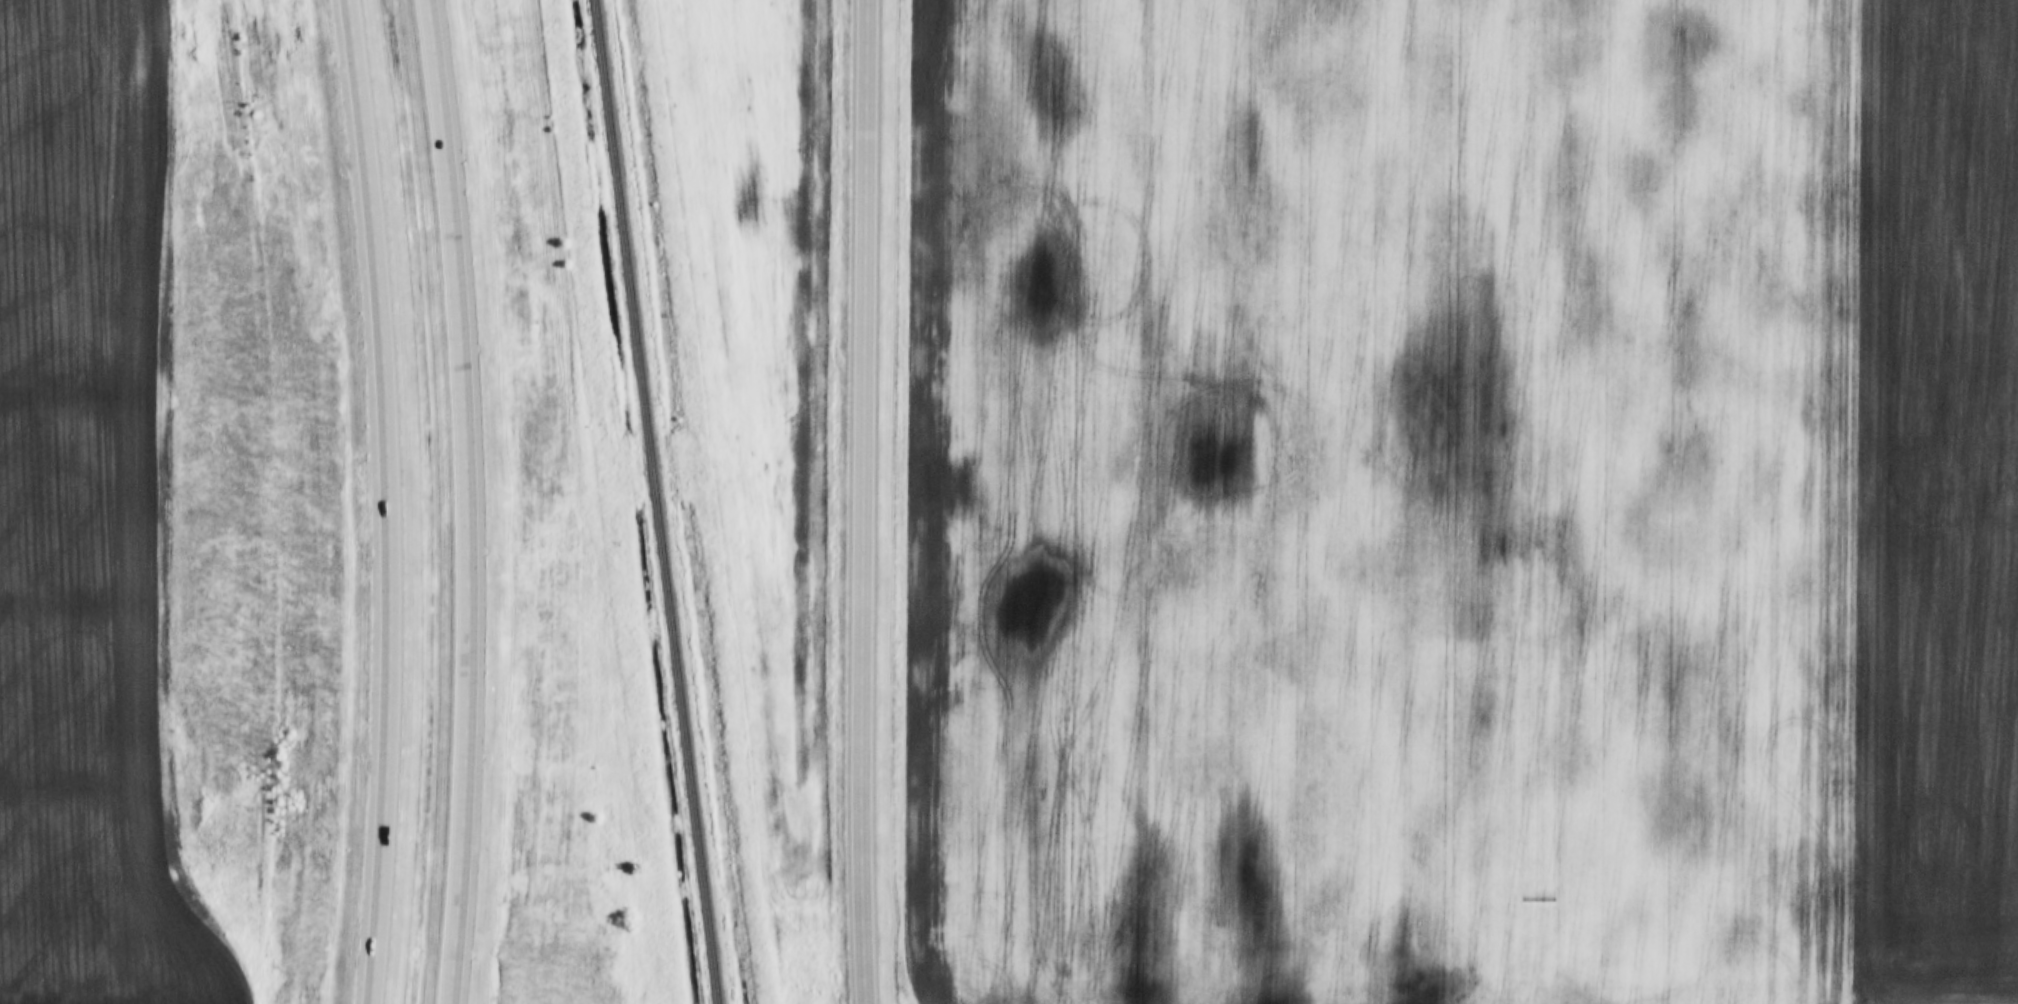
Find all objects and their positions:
road: (866, 457)
road: (386, 501)
road: (465, 501)
railway: (654, 502)
road: (868, 959)

